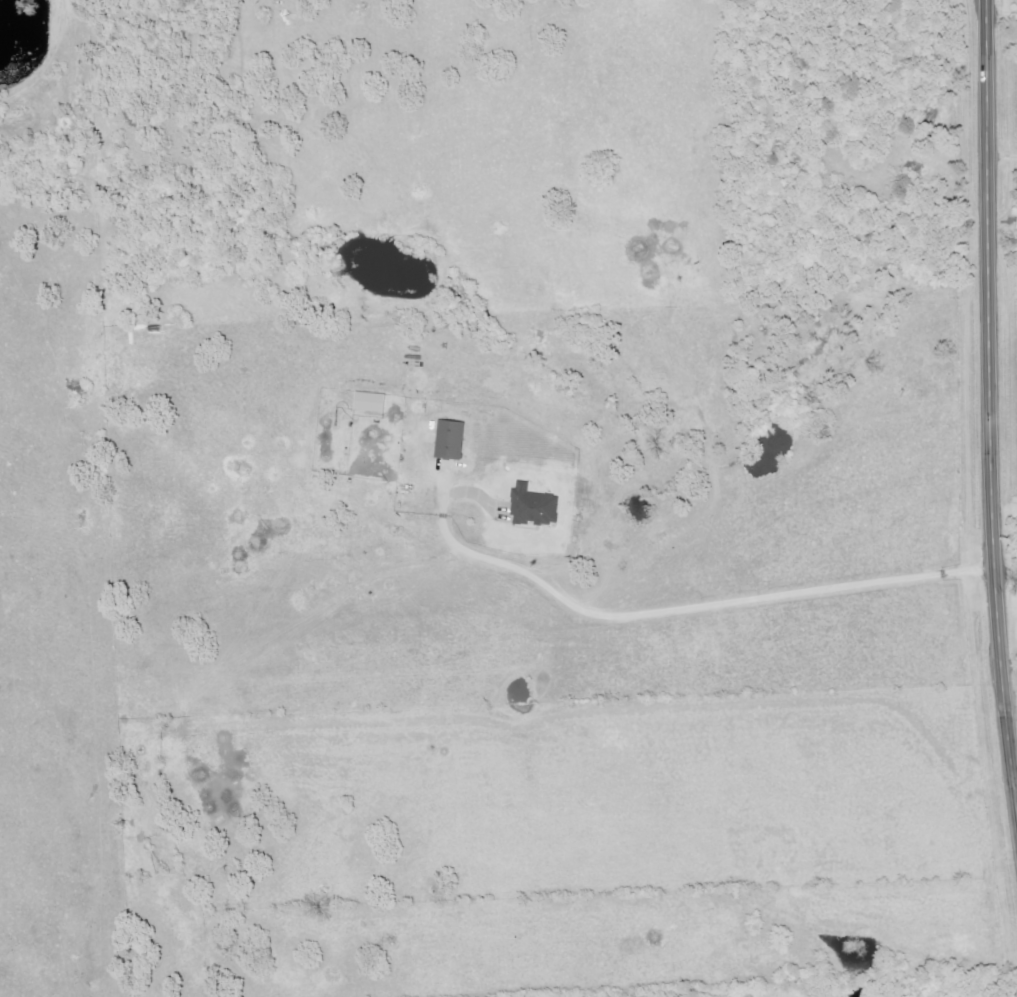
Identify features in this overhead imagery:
building: (373, 402)
road: (991, 408)
building: (454, 440)
building: (538, 507)

